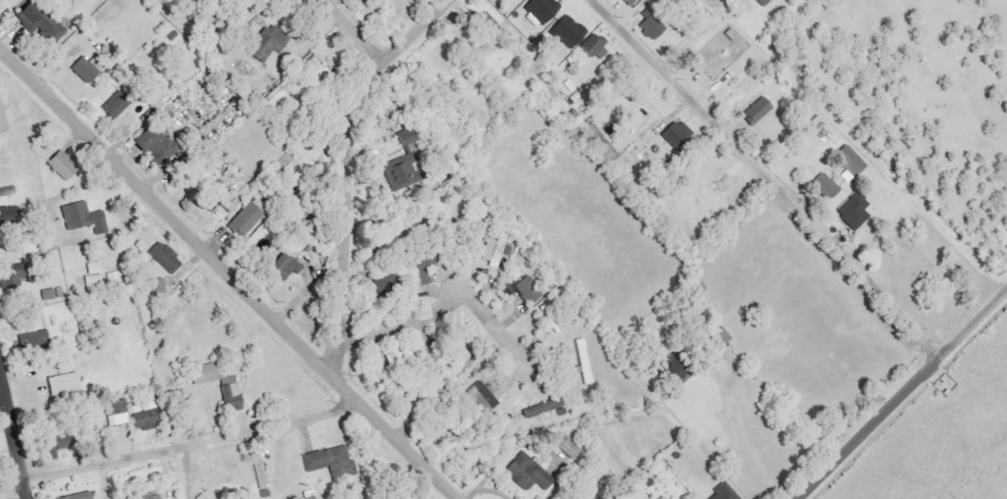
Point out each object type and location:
building: (516, 0)
building: (628, 2)
building: (763, 2)
building: (541, 9)
building: (38, 22)
building: (488, 22)
building: (651, 27)
road: (355, 32)
building: (567, 32)
building: (267, 43)
building: (592, 46)
building: (83, 70)
building: (114, 106)
building: (757, 110)
building: (3, 118)
building: (675, 134)
building: (406, 137)
building: (154, 143)
building: (849, 163)
building: (62, 166)
road: (341, 169)
building: (399, 173)
road: (762, 176)
building: (825, 186)
building: (210, 200)
building: (848, 208)
building: (2, 215)
building: (81, 217)
building: (246, 219)
building: (497, 250)
building: (164, 258)
building: (423, 265)
building: (283, 267)
building: (93, 273)
building: (8, 276)
road: (224, 277)
building: (379, 285)
building: (156, 287)
building: (522, 289)
road: (445, 308)
building: (555, 326)
building: (718, 338)
building: (33, 339)
building: (583, 361)
building: (458, 365)
building: (668, 371)
building: (205, 374)
building: (64, 384)
road: (900, 391)
building: (230, 393)
building: (481, 397)
building: (541, 408)
building: (118, 413)
building: (142, 417)
road: (15, 429)
road: (744, 439)
building: (51, 445)
road: (178, 446)
building: (568, 446)
building: (331, 463)
building: (259, 470)
building: (526, 476)
building: (723, 493)
building: (76, 496)
building: (151, 496)
building: (403, 497)

